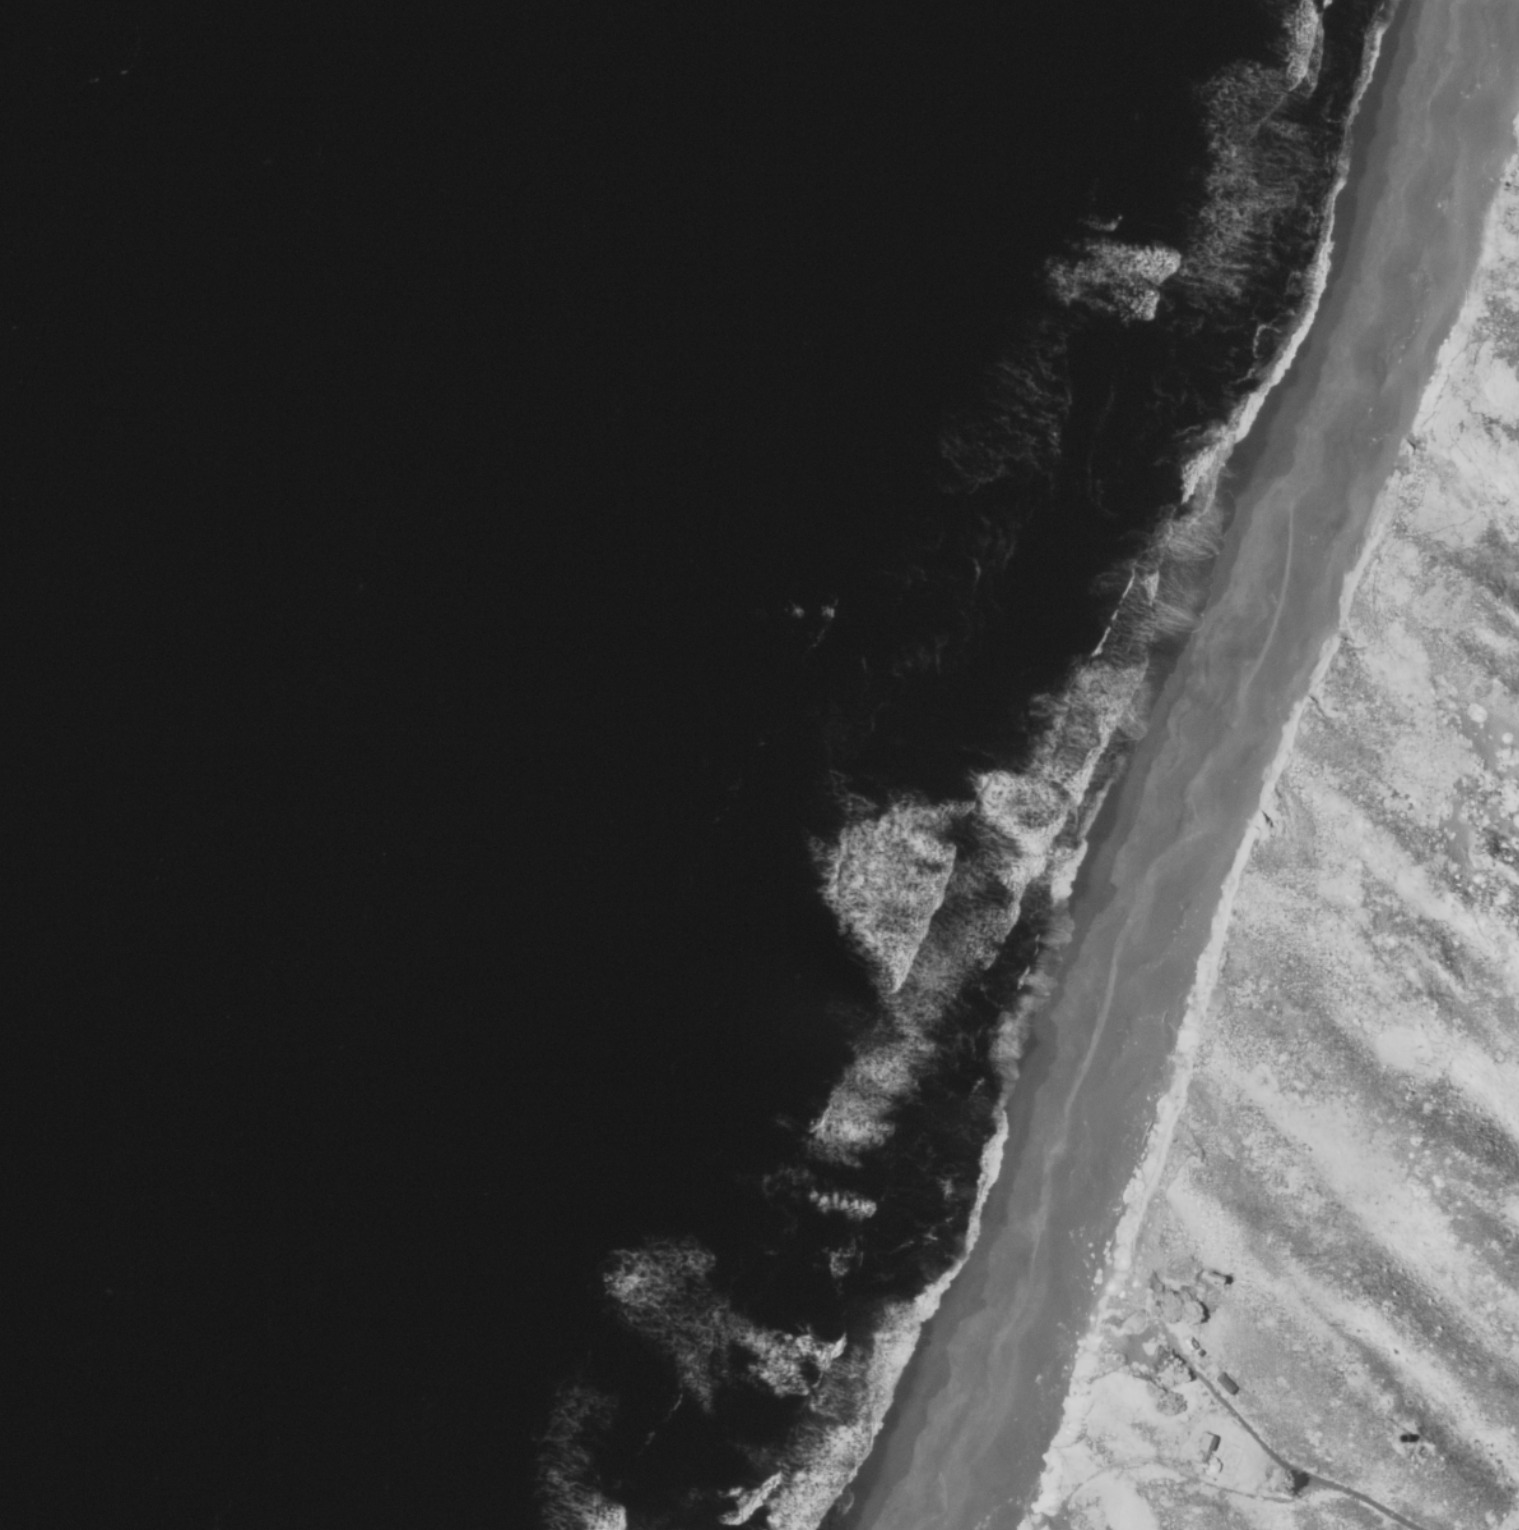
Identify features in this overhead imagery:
road: (1291, 1470)

